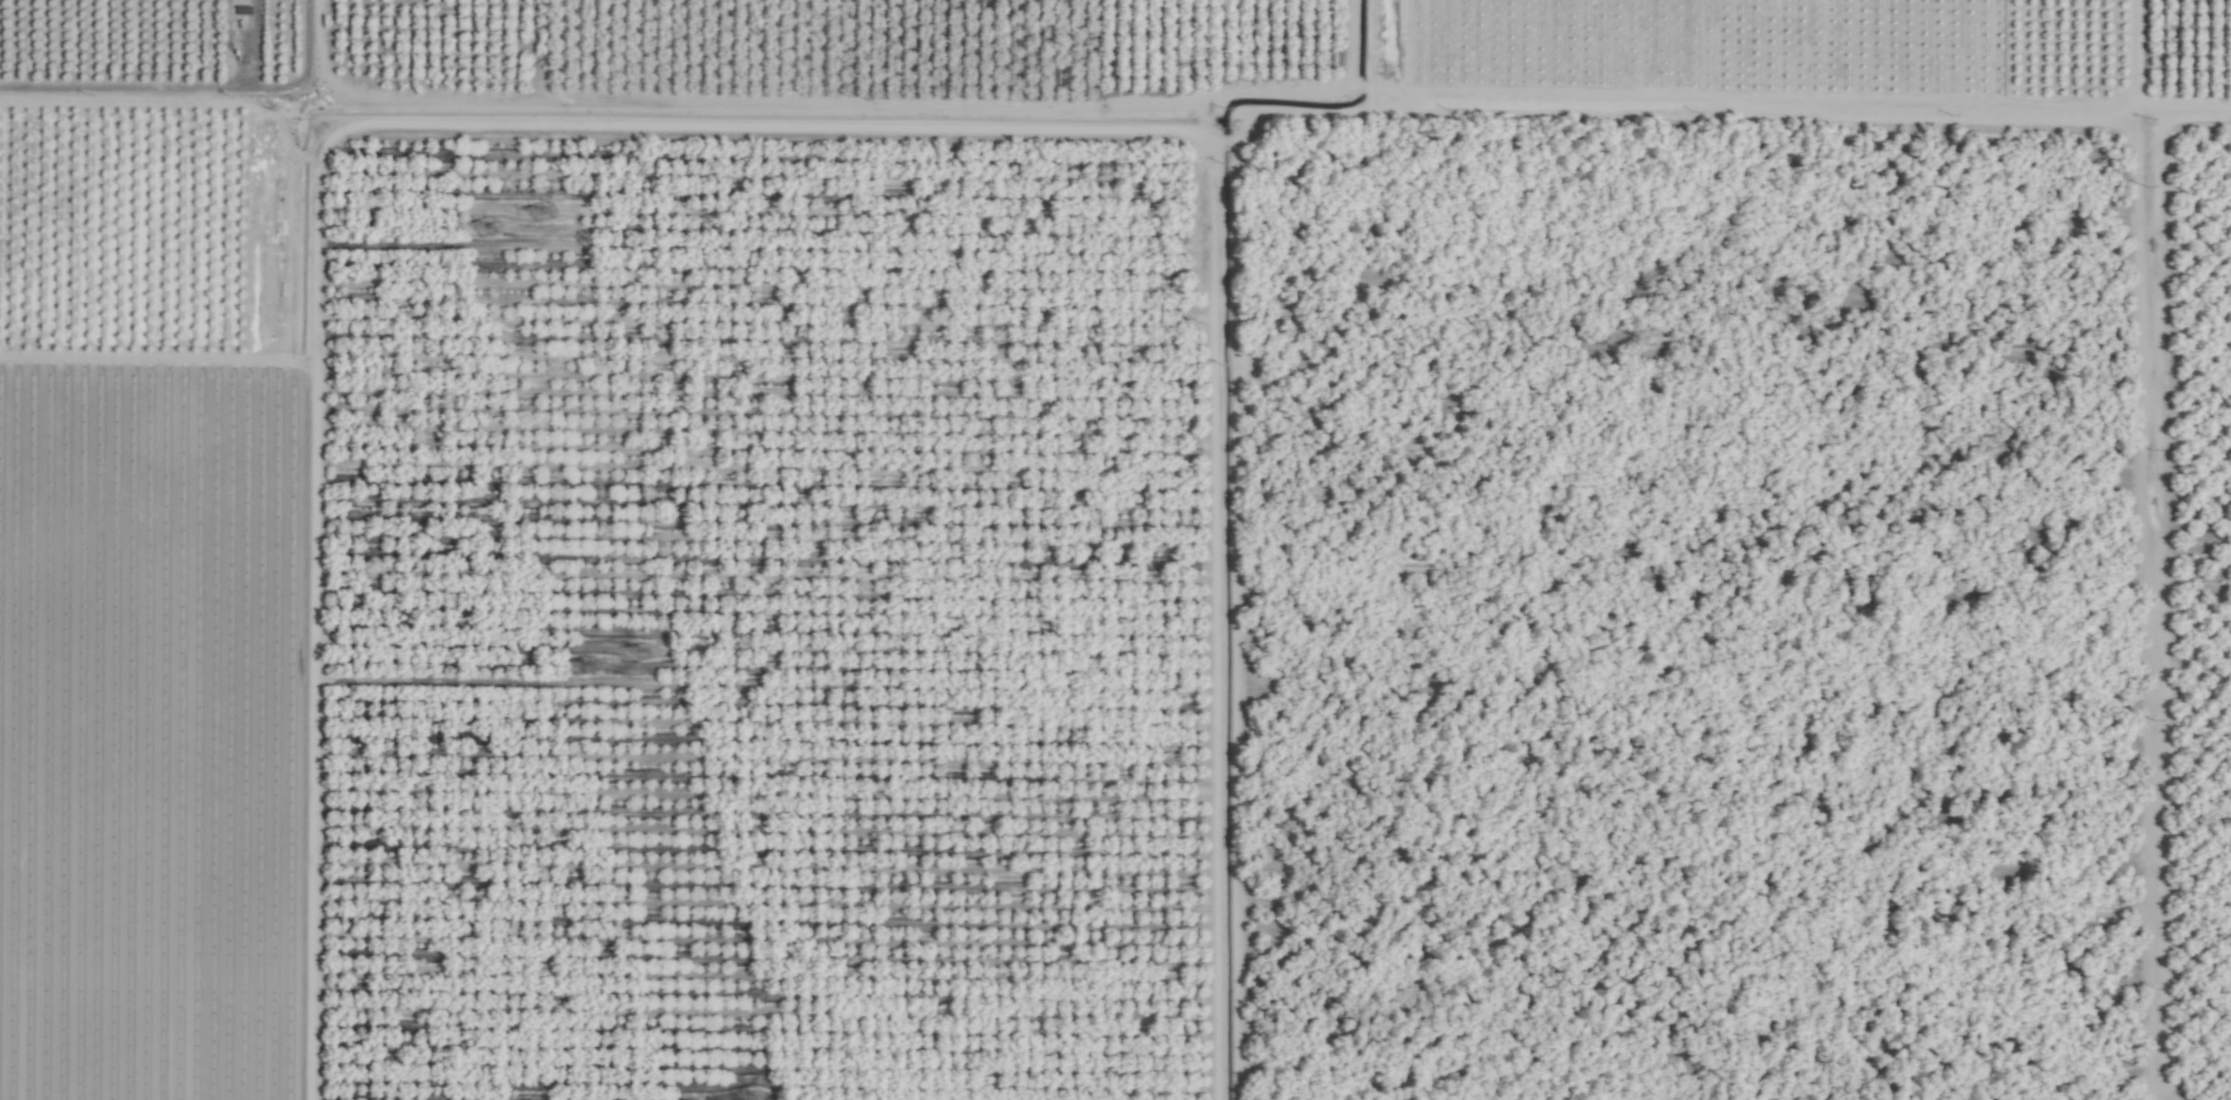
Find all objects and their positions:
power tower: (539, 215)
power tower: (486, 232)
crop: (1115, 549)
power tower: (642, 646)
power tower: (591, 664)
power tower: (749, 1097)

